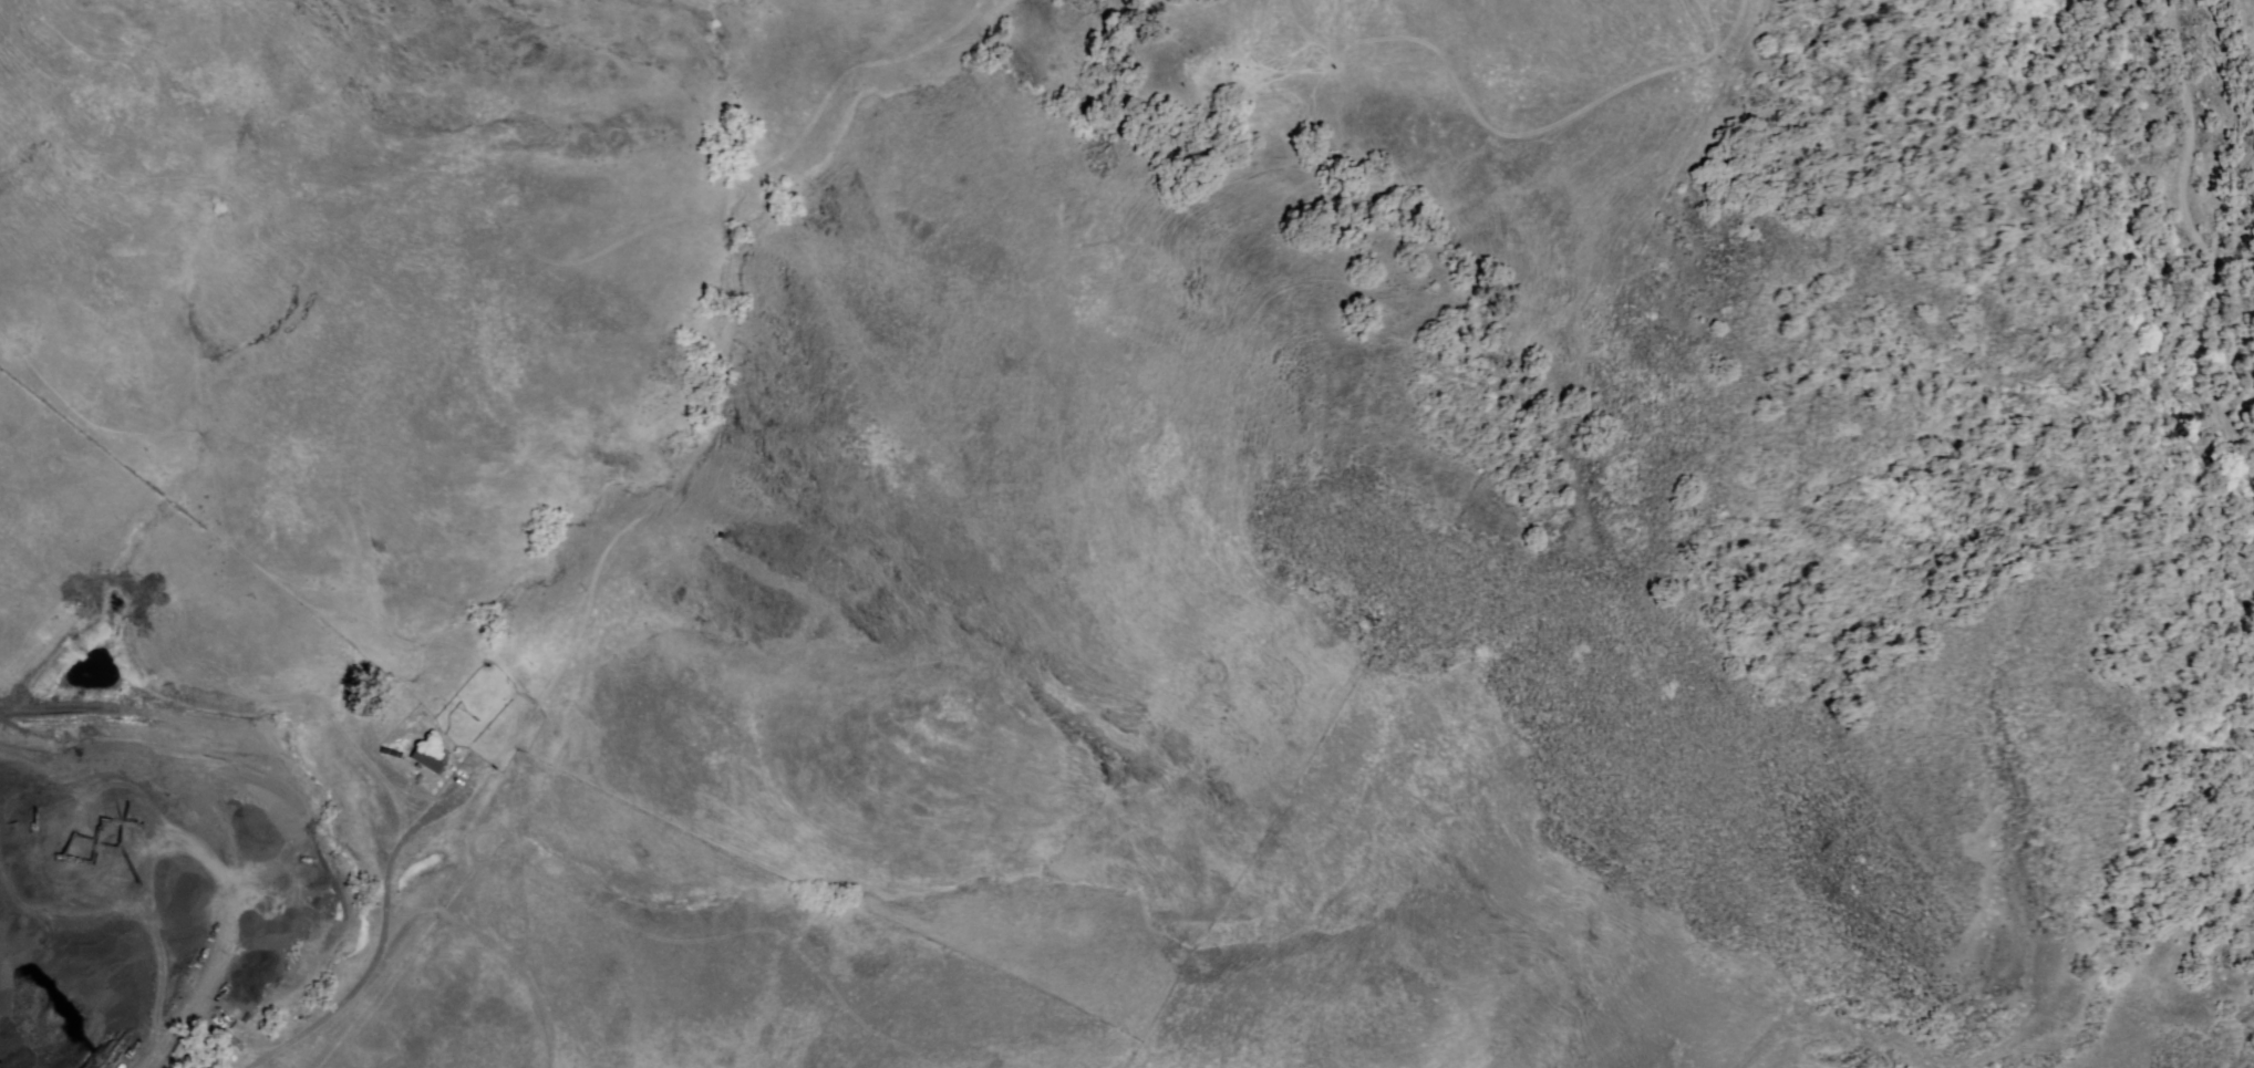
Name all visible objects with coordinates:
building: (427, 757)
quarry: (141, 903)
road: (383, 940)
road: (145, 1046)

